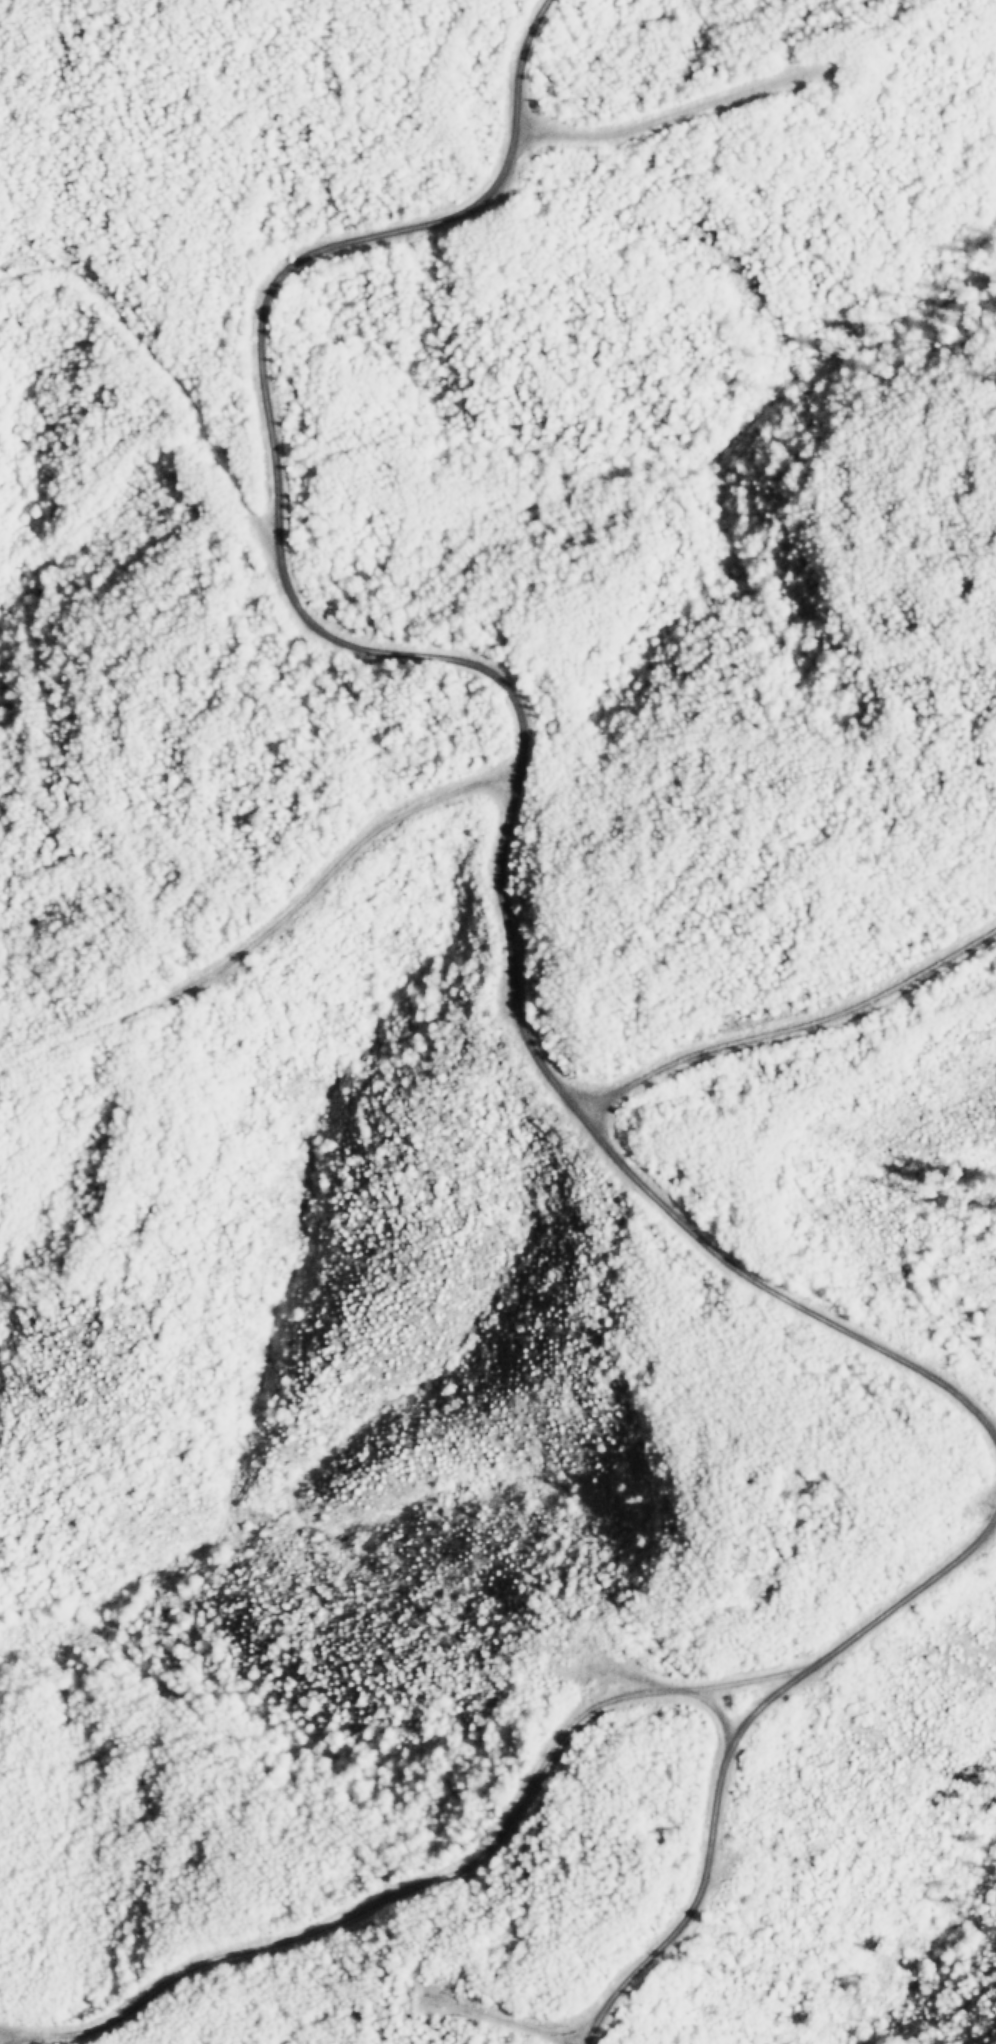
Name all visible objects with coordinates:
road: (458, 665)
road: (784, 1024)
road: (773, 1688)
road: (754, 1791)
road: (449, 1866)

